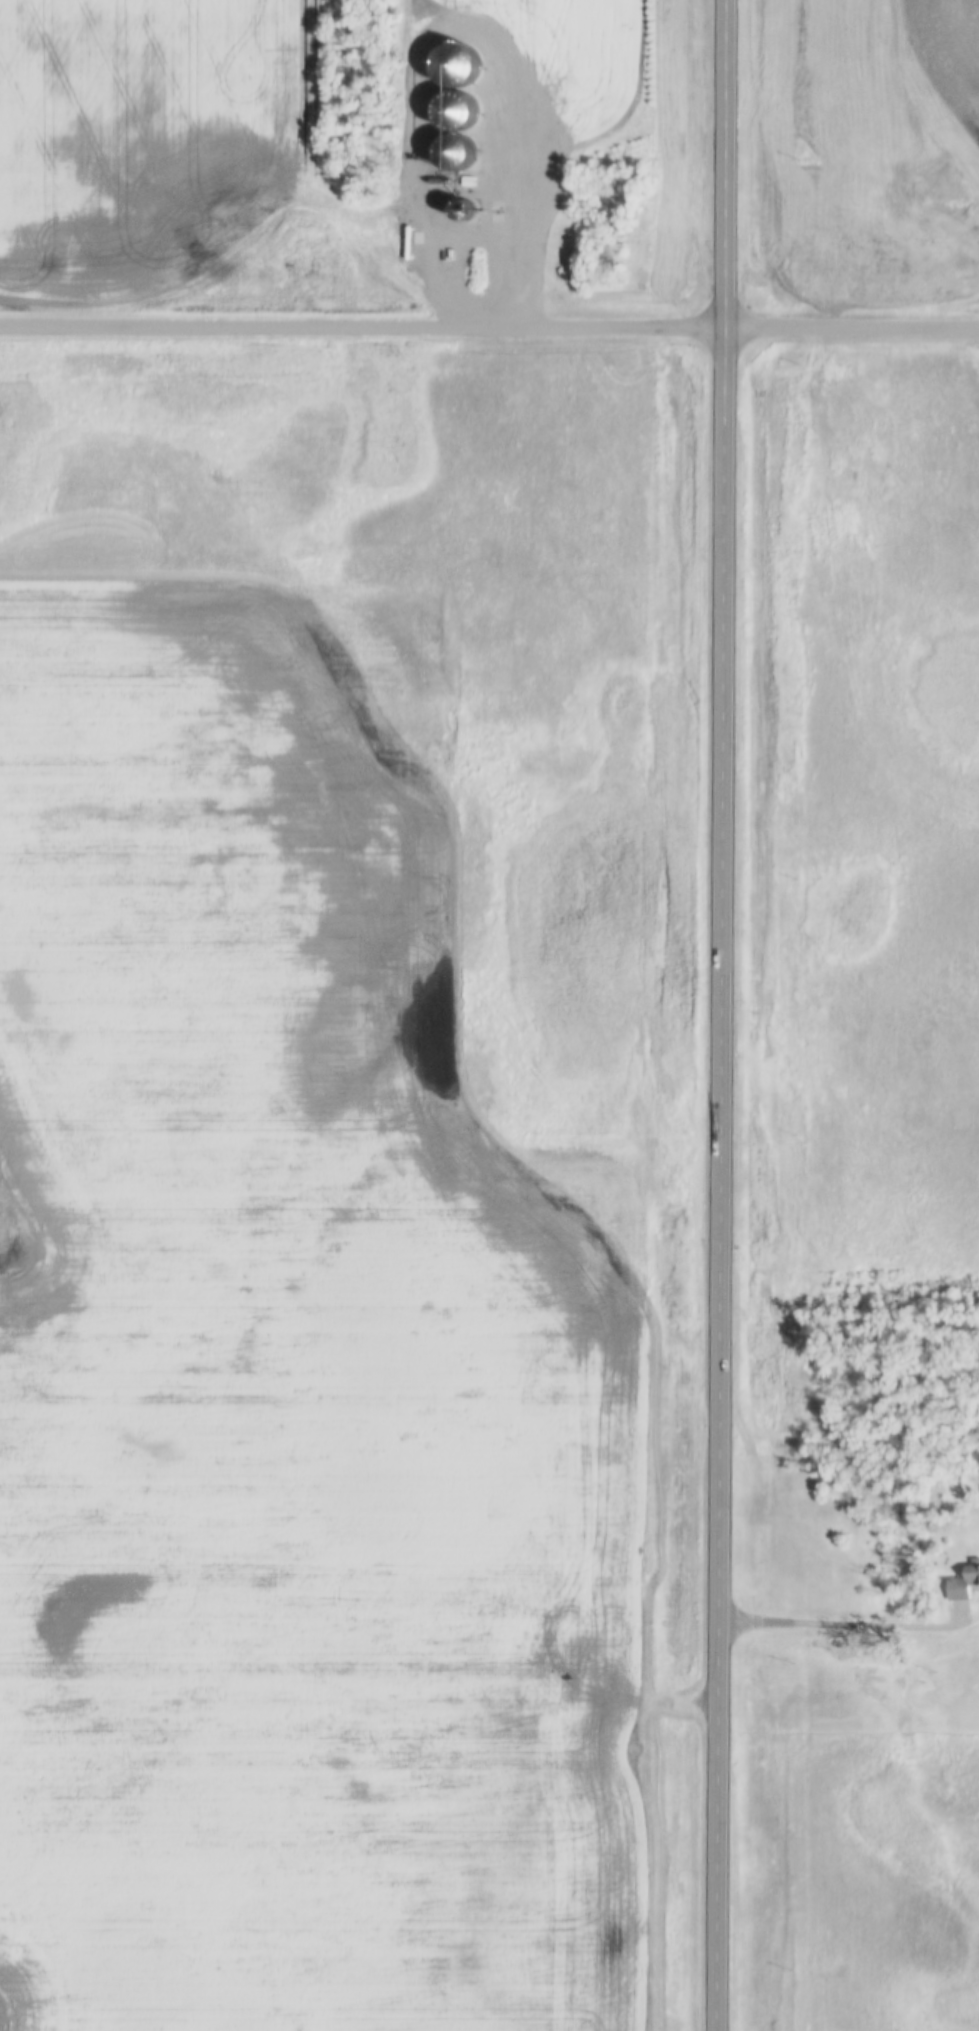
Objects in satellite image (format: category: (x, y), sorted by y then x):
road: (489, 328)
road: (724, 1015)
building: (963, 1585)
road: (850, 1629)

